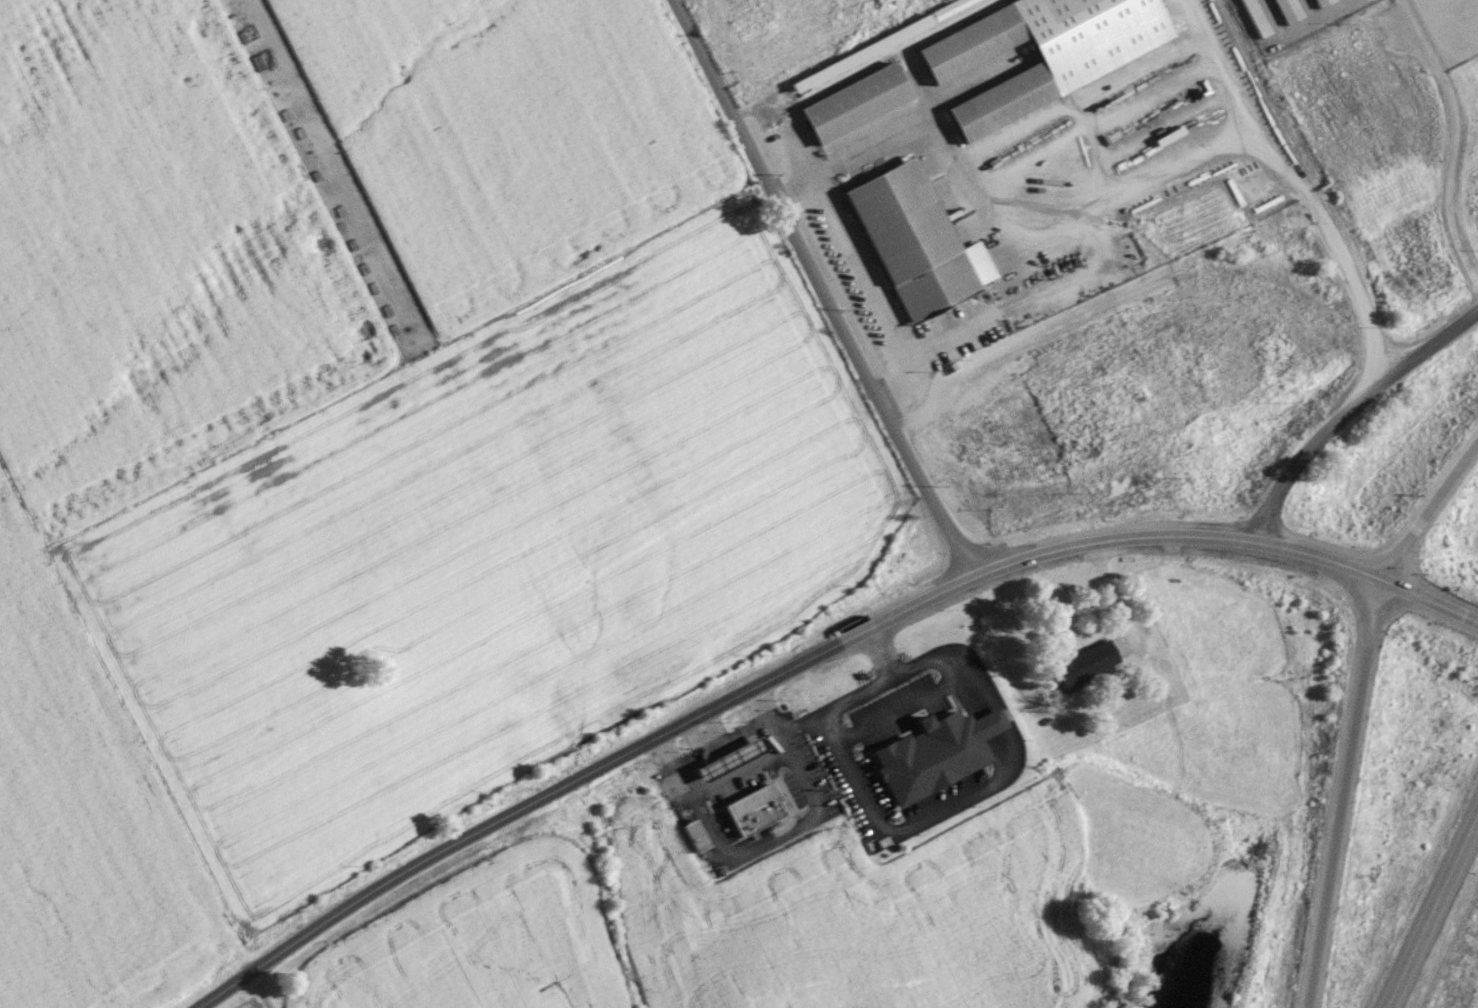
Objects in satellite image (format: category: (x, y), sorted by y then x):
building: (1325, 2)
building: (1292, 10)
building: (1260, 18)
road: (1299, 25)
building: (975, 43)
building: (1005, 102)
building: (858, 103)
road: (1458, 139)
road: (953, 159)
road: (1174, 170)
building: (913, 241)
road: (862, 274)
road: (820, 289)
road: (1345, 412)
road: (1441, 481)
road: (1401, 560)
road: (1358, 565)
road: (1347, 588)
road: (1112, 596)
road: (934, 653)
road: (811, 658)
building: (1087, 663)
road: (906, 706)
road: (825, 714)
road: (800, 722)
road: (704, 731)
road: (721, 741)
building: (935, 753)
building: (730, 759)
road: (996, 779)
road: (1341, 795)
building: (755, 810)
road: (772, 836)
building: (695, 837)
road: (1433, 914)
road: (259, 990)

